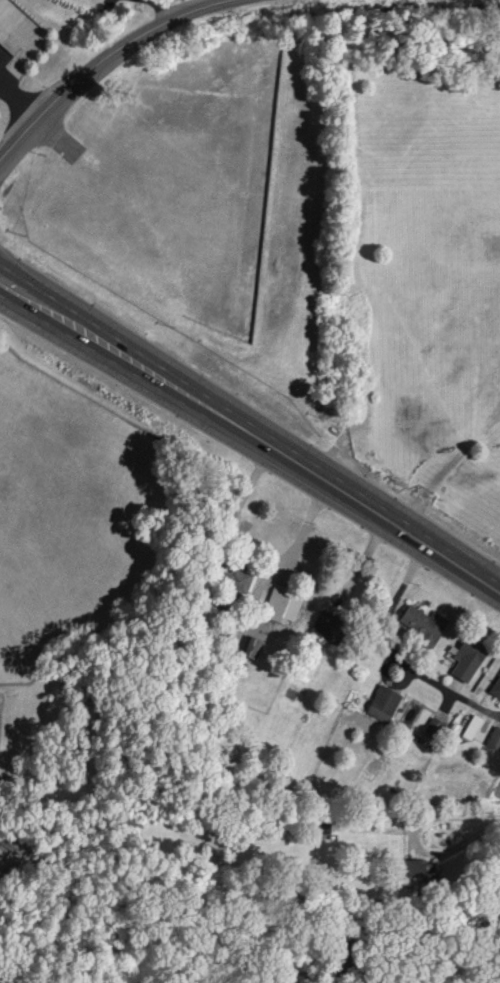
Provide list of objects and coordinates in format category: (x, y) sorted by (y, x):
road: (104, 63)
road: (21, 99)
road: (59, 136)
road: (251, 439)
building: (283, 604)
building: (424, 623)
building: (328, 626)
building: (253, 647)
road: (396, 654)
building: (469, 658)
building: (496, 688)
building: (384, 703)
building: (434, 727)
building: (472, 727)
building: (494, 738)
road: (499, 817)
road: (411, 838)

